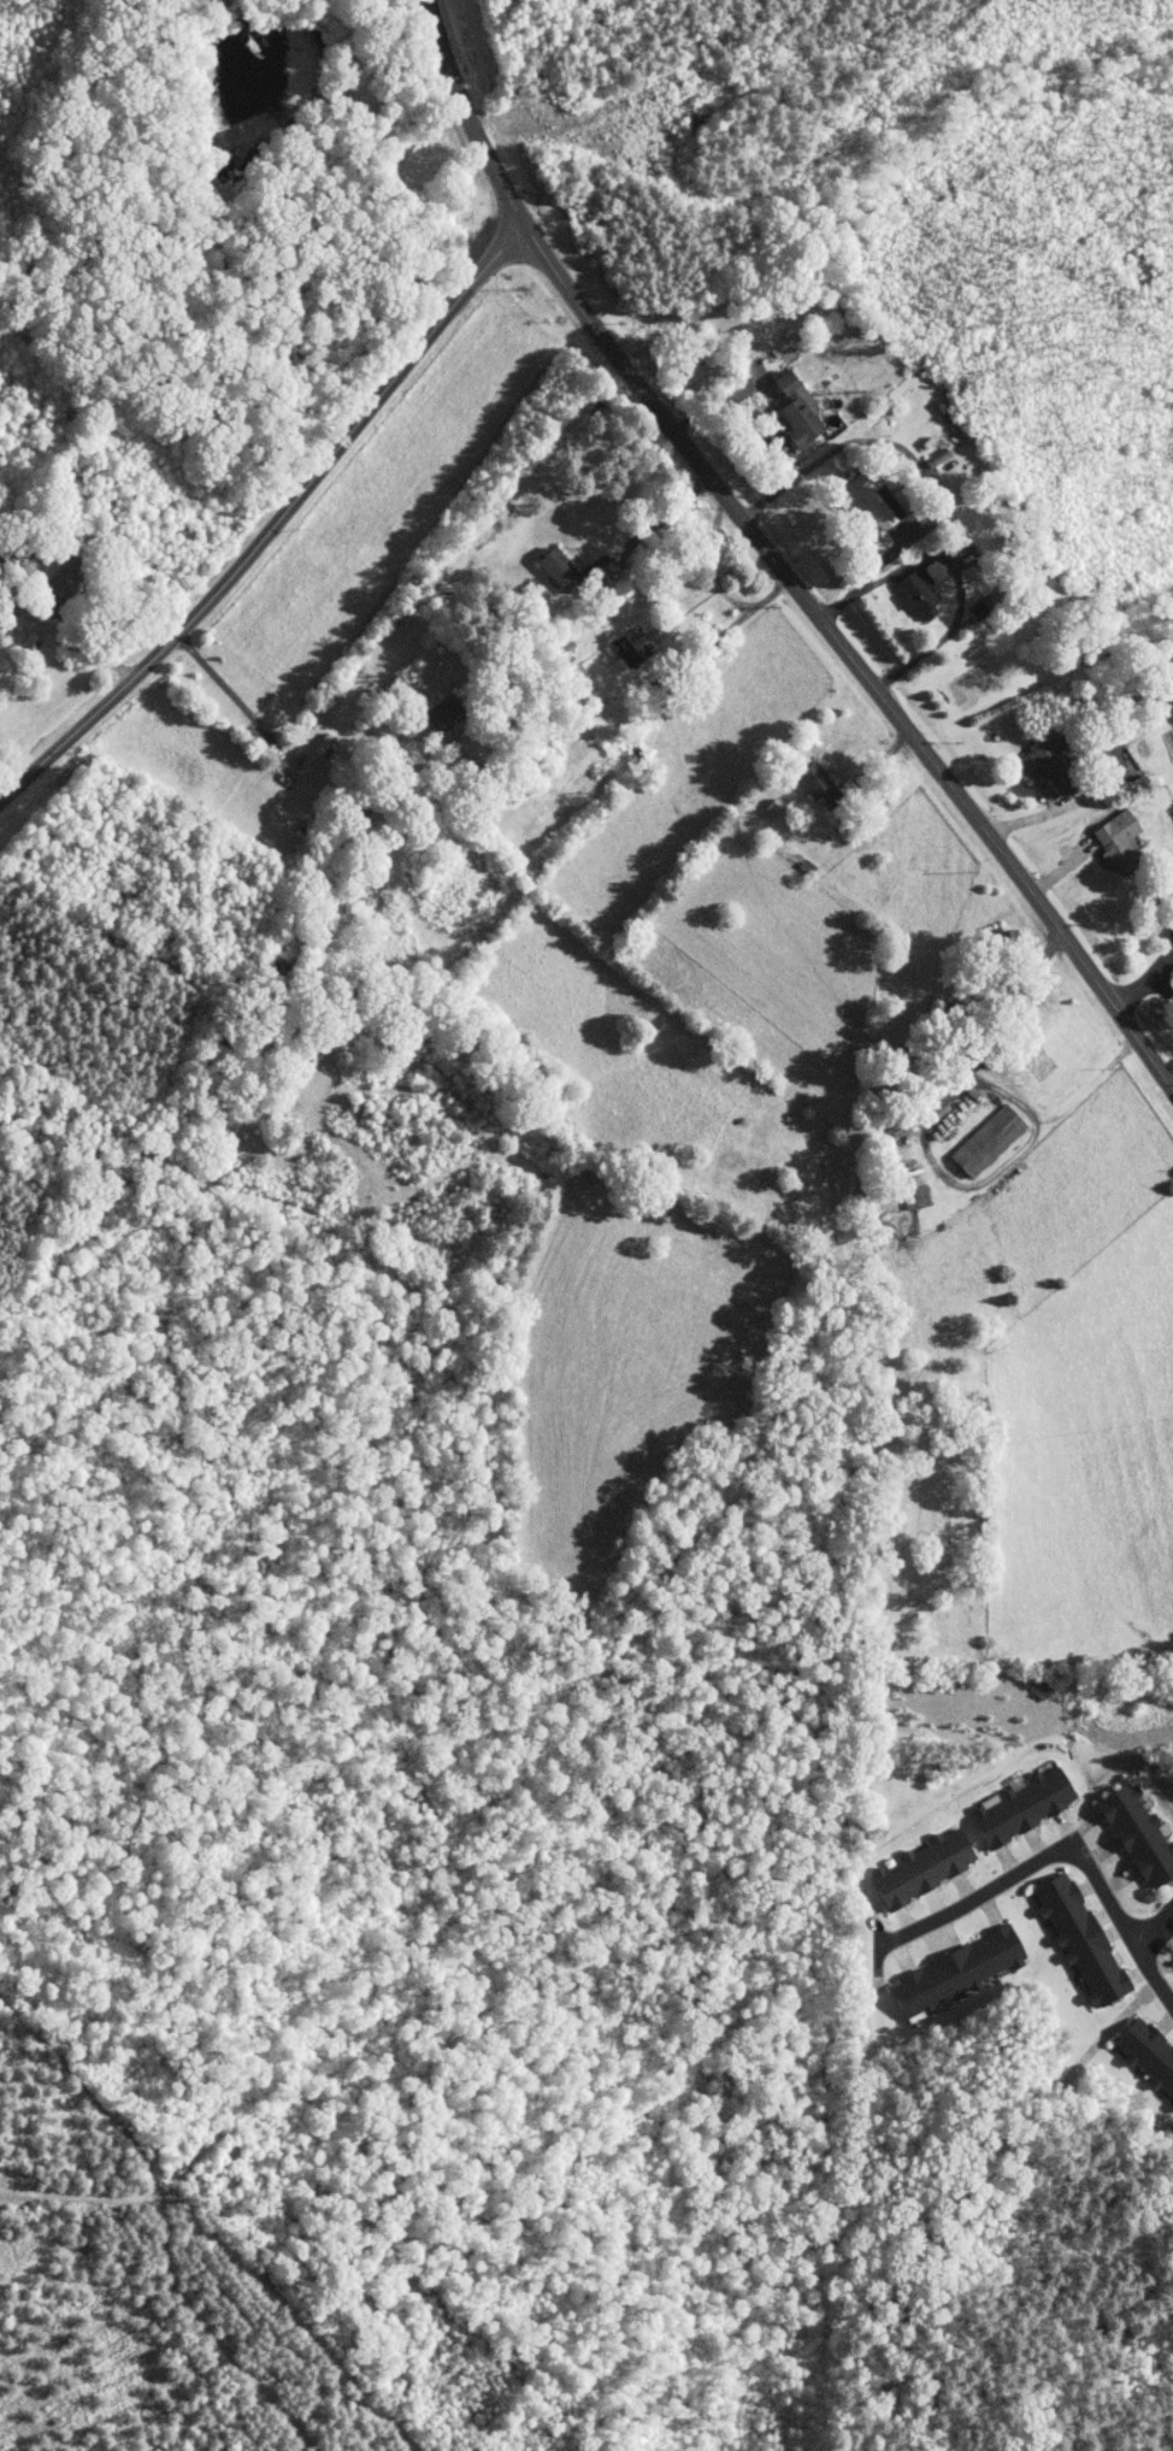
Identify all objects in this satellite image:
building: (801, 408)
building: (944, 412)
road: (902, 448)
building: (872, 497)
road: (654, 523)
road: (275, 525)
road: (774, 560)
building: (565, 570)
road: (956, 570)
building: (923, 594)
road: (736, 623)
building: (637, 646)
road: (236, 699)
building: (450, 712)
building: (317, 753)
building: (1055, 765)
building: (824, 785)
road: (1041, 812)
building: (1122, 838)
road: (1165, 961)
road: (1143, 982)
building: (992, 1139)
building: (918, 1197)
building: (1027, 1805)
building: (1142, 1834)
road: (1036, 1861)
building: (929, 1867)
building: (1085, 1938)
road: (1142, 1954)
road: (1110, 2031)
building: (1150, 2052)

